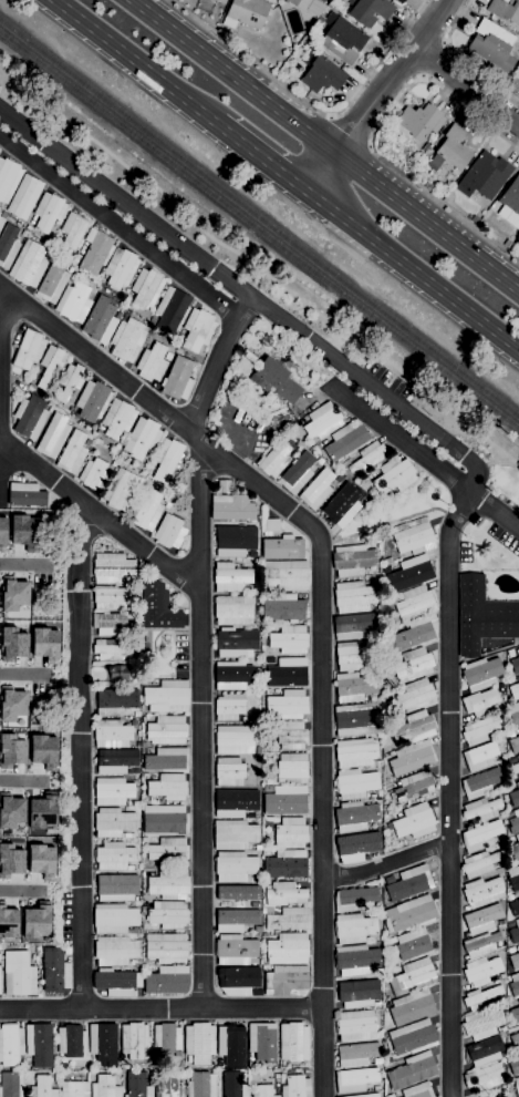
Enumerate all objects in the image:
building: (220, 1)
building: (399, 1)
building: (308, 6)
building: (505, 10)
building: (370, 11)
building: (246, 13)
building: (342, 39)
building: (492, 45)
road: (464, 57)
road: (433, 61)
road: (133, 62)
building: (322, 75)
road: (467, 85)
road: (376, 95)
road: (309, 105)
road: (331, 119)
building: (418, 122)
road: (349, 133)
road: (372, 139)
road: (325, 144)
road: (369, 146)
building: (426, 147)
building: (453, 150)
road: (361, 156)
road: (263, 161)
building: (414, 173)
building: (485, 176)
building: (8, 180)
building: (428, 186)
building: (24, 197)
building: (511, 197)
road: (127, 205)
building: (49, 212)
road: (320, 215)
railway: (259, 217)
building: (475, 219)
building: (1, 223)
road: (314, 223)
railway: (259, 227)
building: (29, 228)
road: (120, 228)
building: (73, 230)
building: (23, 234)
road: (338, 243)
building: (8, 246)
building: (55, 248)
building: (95, 253)
building: (29, 265)
building: (120, 268)
road: (415, 275)
building: (52, 283)
building: (146, 288)
building: (127, 300)
building: (74, 303)
building: (170, 311)
building: (100, 320)
road: (0, 325)
building: (198, 330)
building: (128, 340)
building: (27, 348)
building: (152, 363)
building: (51, 365)
building: (178, 379)
building: (71, 381)
building: (276, 381)
road: (375, 391)
building: (93, 400)
building: (30, 417)
building: (118, 419)
building: (322, 421)
building: (272, 429)
parking lot: (241, 430)
building: (53, 437)
building: (143, 439)
road: (195, 439)
building: (346, 441)
road: (402, 441)
building: (314, 450)
building: (72, 453)
building: (367, 458)
building: (274, 460)
building: (168, 461)
building: (114, 464)
building: (297, 474)
building: (94, 475)
building: (394, 476)
building: (224, 486)
building: (122, 490)
building: (316, 490)
building: (27, 495)
building: (167, 505)
building: (341, 505)
building: (232, 508)
building: (147, 511)
road: (495, 511)
road: (388, 523)
building: (271, 527)
building: (25, 531)
building: (169, 532)
building: (2, 533)
building: (414, 540)
building: (235, 541)
building: (282, 548)
building: (252, 555)
building: (353, 561)
building: (388, 561)
road: (24, 565)
building: (113, 568)
building: (411, 573)
building: (286, 576)
building: (230, 578)
building: (255, 591)
building: (13, 594)
building: (110, 597)
building: (353, 597)
building: (413, 604)
building: (158, 607)
building: (283, 608)
building: (233, 611)
road: (320, 613)
building: (482, 616)
building: (108, 623)
building: (353, 626)
building: (270, 628)
building: (413, 634)
building: (289, 640)
building: (236, 643)
building: (12, 644)
building: (44, 645)
building: (112, 649)
building: (510, 654)
road: (148, 655)
building: (255, 656)
building: (352, 656)
road: (485, 656)
building: (515, 664)
building: (413, 666)
building: (117, 673)
building: (287, 673)
building: (481, 674)
road: (23, 675)
building: (232, 675)
building: (518, 677)
road: (114, 681)
building: (354, 687)
building: (268, 691)
building: (515, 691)
building: (416, 696)
building: (167, 697)
building: (115, 701)
building: (480, 703)
building: (11, 704)
building: (288, 705)
building: (229, 707)
building: (136, 714)
building: (513, 714)
building: (357, 720)
building: (415, 728)
building: (167, 730)
building: (480, 730)
building: (502, 732)
building: (113, 734)
building: (291, 736)
building: (235, 740)
building: (513, 745)
building: (144, 746)
building: (258, 749)
building: (11, 751)
building: (43, 751)
building: (356, 753)
building: (269, 756)
road: (82, 757)
building: (480, 757)
building: (504, 757)
building: (412, 758)
building: (518, 758)
building: (167, 759)
building: (116, 761)
building: (511, 761)
building: (292, 769)
building: (515, 769)
building: (136, 771)
building: (229, 772)
building: (146, 776)
road: (201, 777)
road: (22, 781)
building: (481, 783)
building: (355, 785)
building: (168, 787)
building: (413, 787)
building: (113, 792)
road: (450, 792)
building: (378, 793)
building: (515, 797)
building: (136, 803)
building: (233, 803)
building: (481, 810)
building: (10, 811)
building: (41, 812)
building: (355, 817)
building: (164, 819)
building: (274, 820)
building: (113, 822)
building: (415, 822)
building: (515, 823)
building: (291, 833)
building: (233, 834)
building: (128, 835)
building: (481, 835)
building: (144, 840)
building: (355, 847)
building: (258, 848)
building: (516, 850)
building: (168, 851)
building: (113, 857)
building: (10, 861)
building: (41, 861)
building: (287, 864)
road: (386, 864)
building: (480, 864)
building: (235, 867)
building: (143, 875)
building: (513, 878)
building: (411, 883)
building: (169, 884)
building: (263, 884)
building: (117, 888)
road: (22, 892)
building: (482, 892)
building: (284, 894)
building: (236, 896)
building: (138, 899)
building: (356, 899)
building: (510, 899)
building: (513, 909)
building: (378, 912)
building: (411, 914)
building: (167, 915)
building: (288, 919)
building: (114, 920)
building: (235, 920)
building: (482, 920)
building: (8, 922)
building: (37, 922)
building: (354, 929)
building: (515, 933)
building: (264, 934)
building: (414, 945)
building: (481, 945)
building: (166, 947)
building: (288, 949)
building: (68, 951)
building: (115, 951)
building: (236, 951)
building: (33, 957)
building: (355, 960)
building: (515, 961)
building: (135, 963)
building: (266, 967)
building: (55, 971)
building: (377, 971)
building: (481, 971)
building: (19, 974)
building: (413, 976)
building: (502, 976)
building: (167, 981)
building: (237, 981)
building: (287, 981)
building: (117, 982)
building: (0, 985)
building: (515, 985)
building: (359, 994)
building: (480, 997)
building: (501, 999)
building: (518, 1001)
building: (387, 1005)
building: (412, 1007)
road: (263, 1008)
building: (515, 1015)
building: (482, 1025)
building: (356, 1026)
building: (504, 1029)
building: (413, 1037)
building: (229, 1038)
building: (168, 1039)
building: (134, 1040)
building: (515, 1040)
building: (72, 1042)
building: (263, 1043)
building: (294, 1043)
building: (103, 1044)
building: (199, 1044)
building: (11, 1045)
building: (39, 1045)
building: (486, 1052)
building: (356, 1054)
building: (378, 1062)
building: (156, 1064)
building: (251, 1065)
building: (260, 1066)
building: (27, 1067)
building: (515, 1067)
building: (290, 1072)
building: (412, 1072)
building: (118, 1073)
building: (485, 1077)
building: (55, 1078)
building: (355, 1079)
building: (12, 1085)
building: (137, 1085)
building: (201, 1085)
building: (235, 1085)
building: (517, 1085)
building: (169, 1086)
building: (43, 1087)
building: (105, 1087)
building: (297, 1087)
building: (75, 1088)
building: (377, 1088)
building: (262, 1090)
building: (418, 1090)
building: (367, 1095)
building: (277, 1096)
building: (390, 1096)

